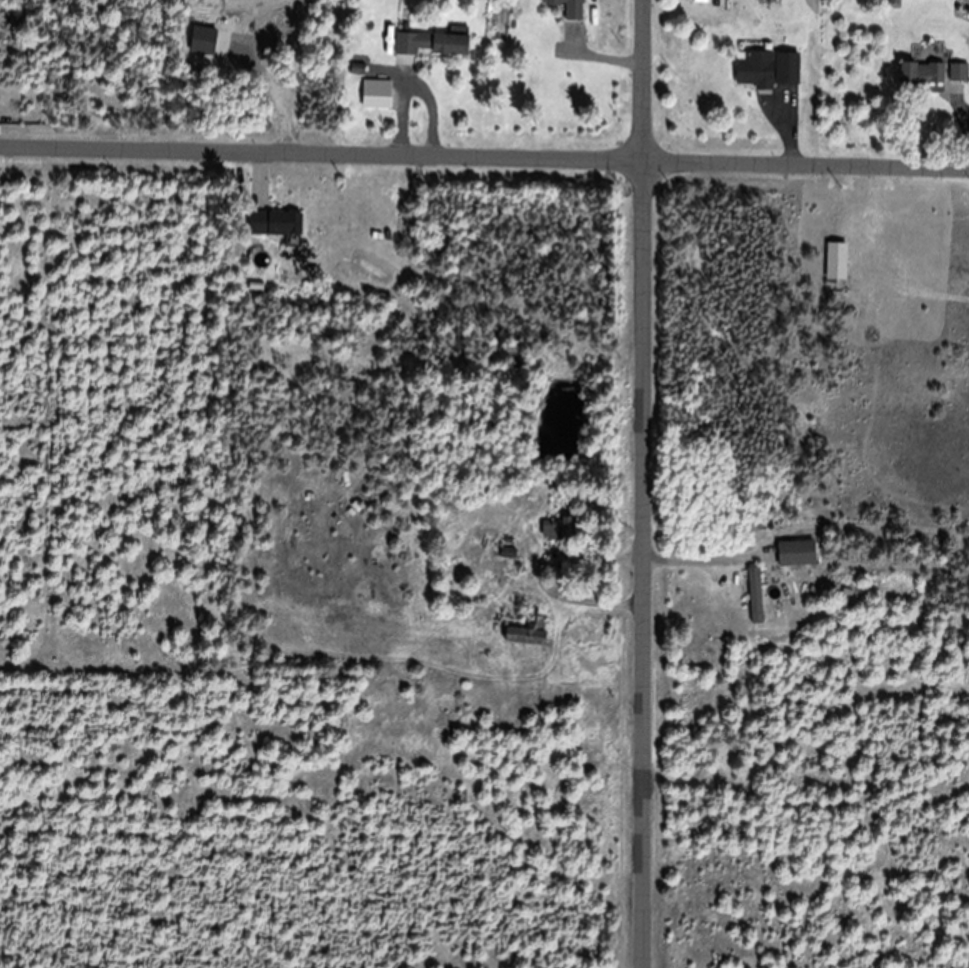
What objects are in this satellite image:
building: (567, 8)
building: (430, 44)
building: (753, 69)
building: (786, 70)
building: (920, 73)
building: (958, 73)
building: (375, 94)
road: (484, 130)
building: (273, 225)
road: (637, 484)
building: (559, 530)
building: (795, 554)
building: (754, 597)
building: (526, 633)

